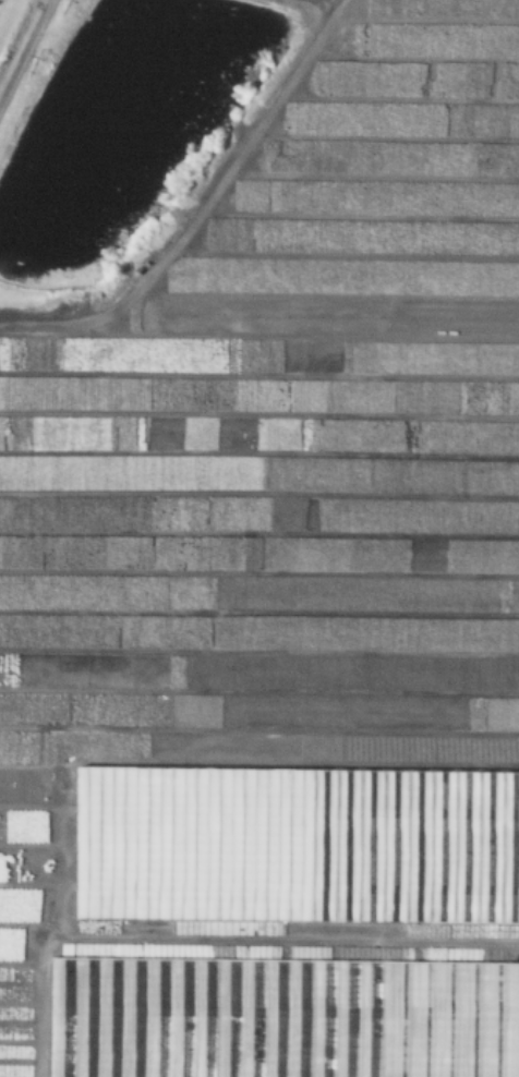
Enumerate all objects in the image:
road: (333, 0)
road: (26, 55)
building: (114, 791)
building: (137, 1017)

